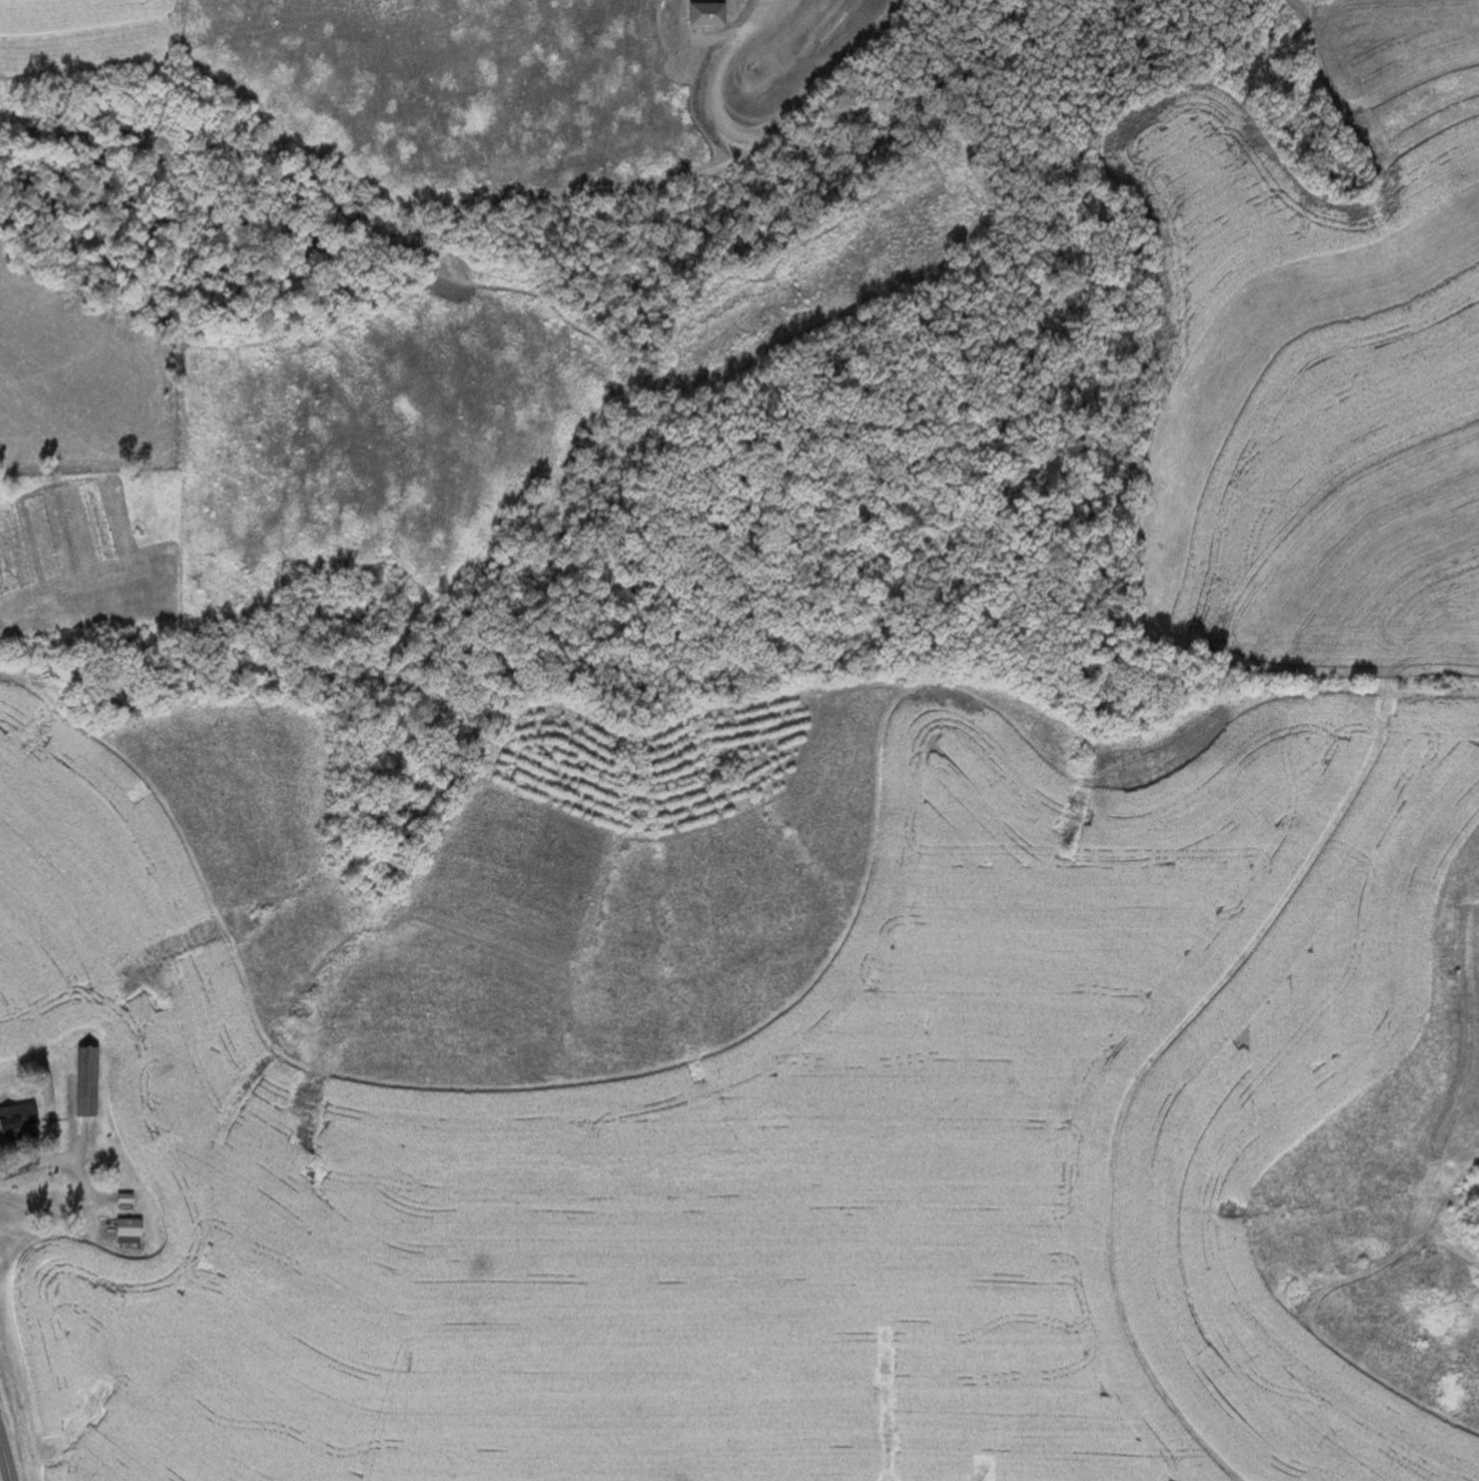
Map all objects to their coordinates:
building: (84, 1083)
building: (16, 1118)
building: (122, 1200)
building: (124, 1233)
road: (5, 1457)

